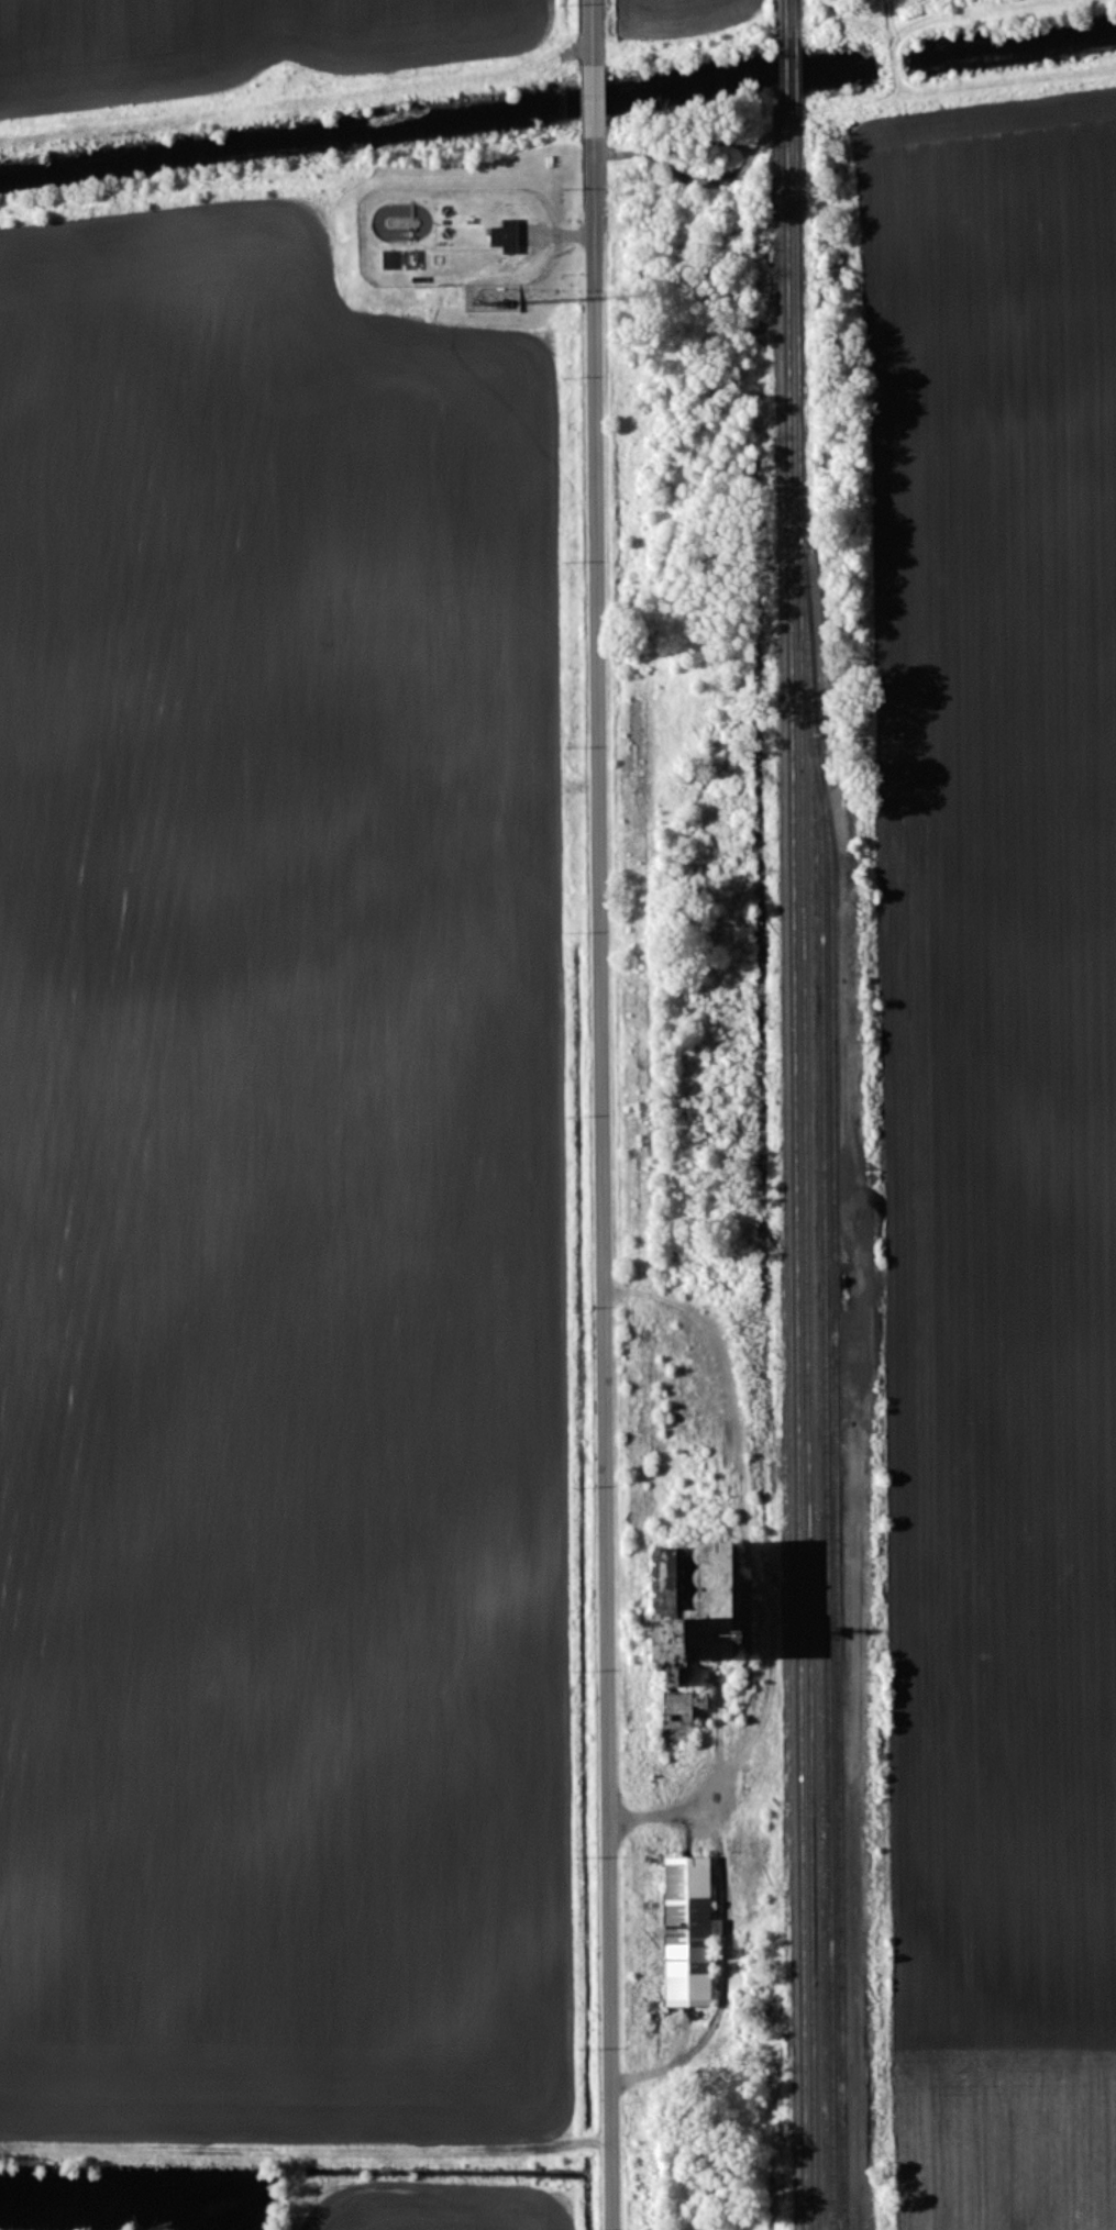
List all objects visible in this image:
railway: (792, 8)
railway: (802, 8)
road: (593, 32)
railway: (803, 51)
railway: (793, 52)
road: (594, 99)
building: (502, 234)
road: (604, 702)
railway: (811, 1157)
railway: (802, 1158)
railway: (844, 1378)
railway: (836, 1488)
road: (755, 1541)
road: (616, 1751)
building: (687, 1933)
road: (733, 1953)

